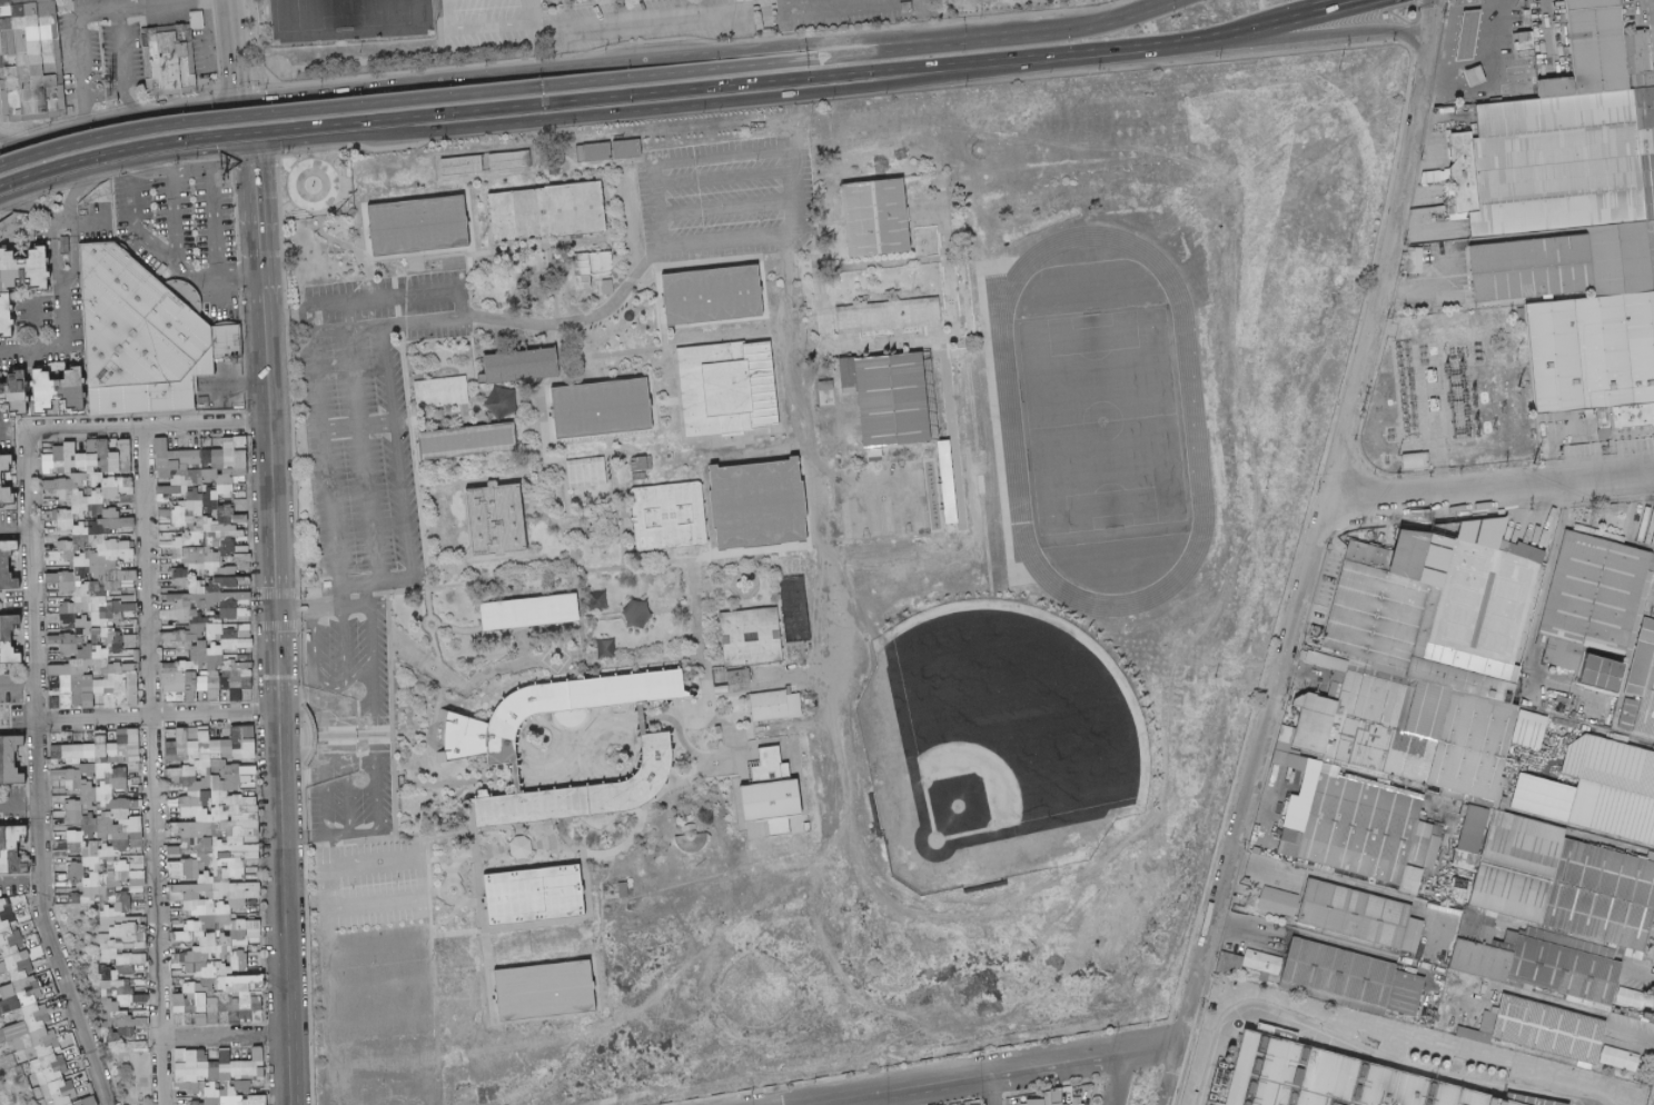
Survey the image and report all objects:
parking lot: (850, 12)
park: (348, 18)
parking lot: (641, 21)
gas station: (1454, 21)
parking lot: (485, 30)
gas station: (1462, 58)
parking lot: (725, 198)
parking lot: (293, 283)
power substation: (1449, 391)
park: (1102, 420)
park: (882, 498)
track: (1197, 539)
parking lot: (361, 638)
park: (1011, 724)
park: (128, 1068)

